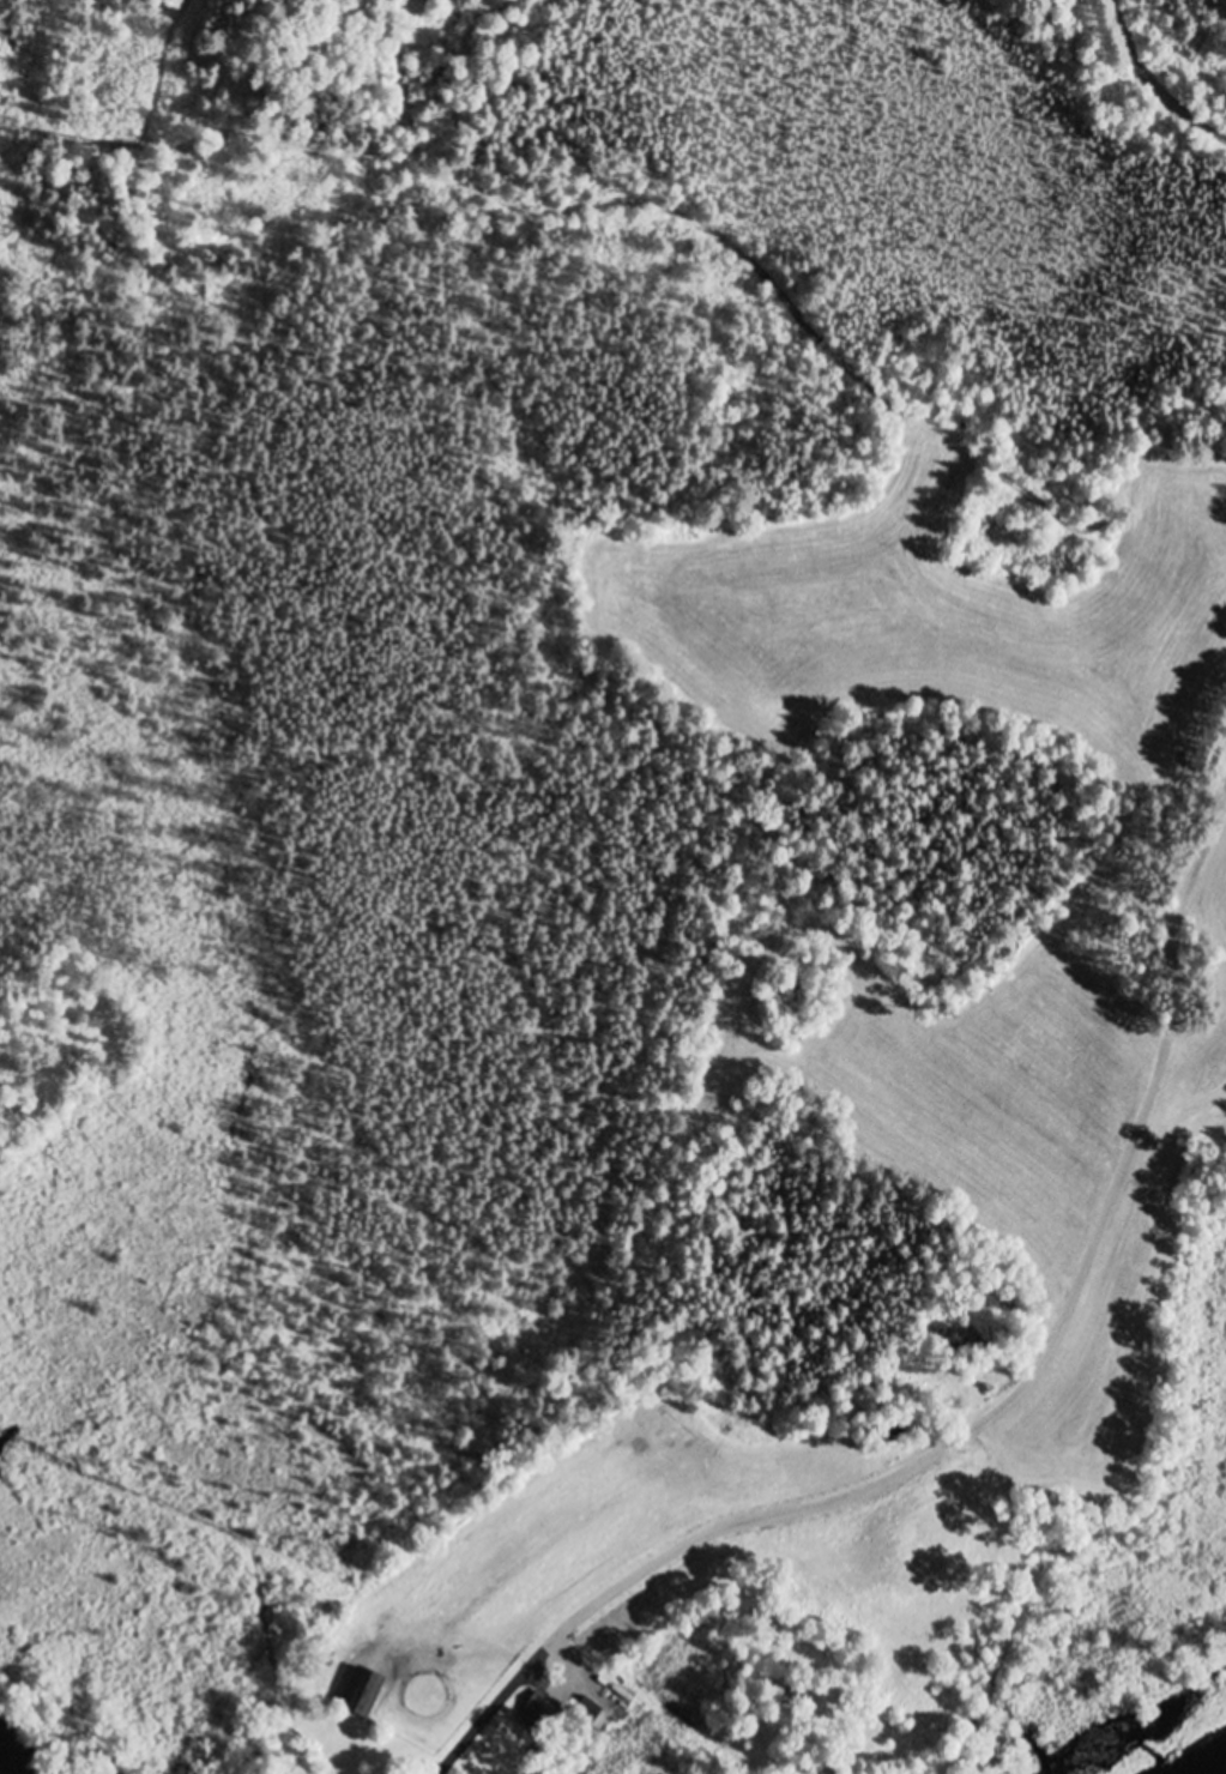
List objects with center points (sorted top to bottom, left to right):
building: (429, 1)
road: (1152, 82)
road: (1039, 1371)
building: (366, 1692)
building: (591, 1710)
building: (542, 1713)
river: (1215, 1769)

